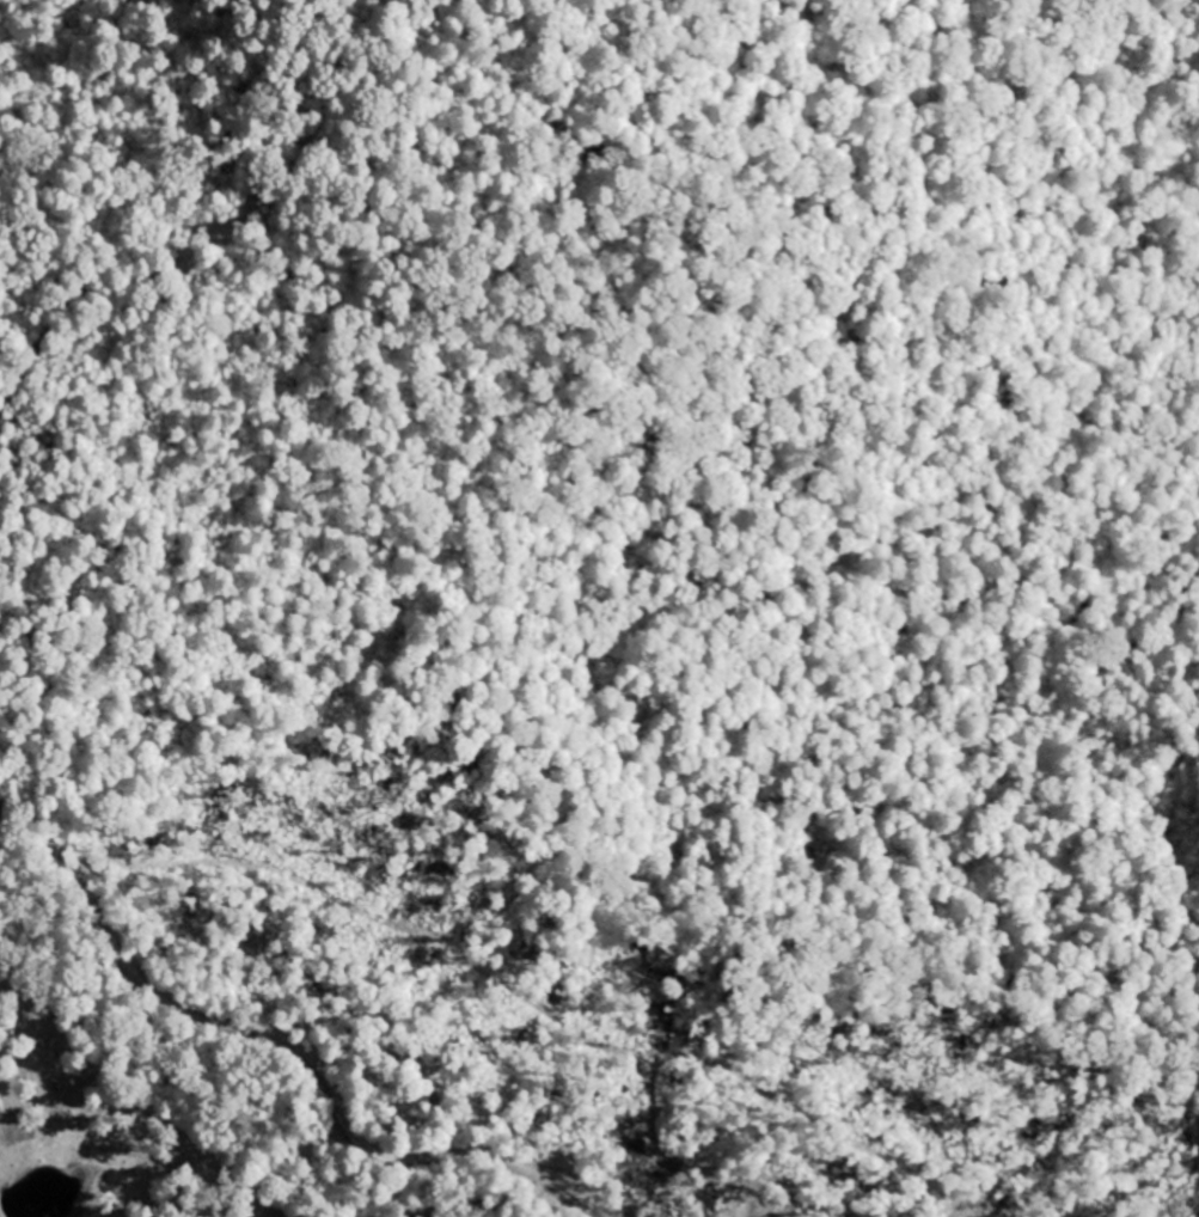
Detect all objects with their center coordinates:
road: (287, 1038)

